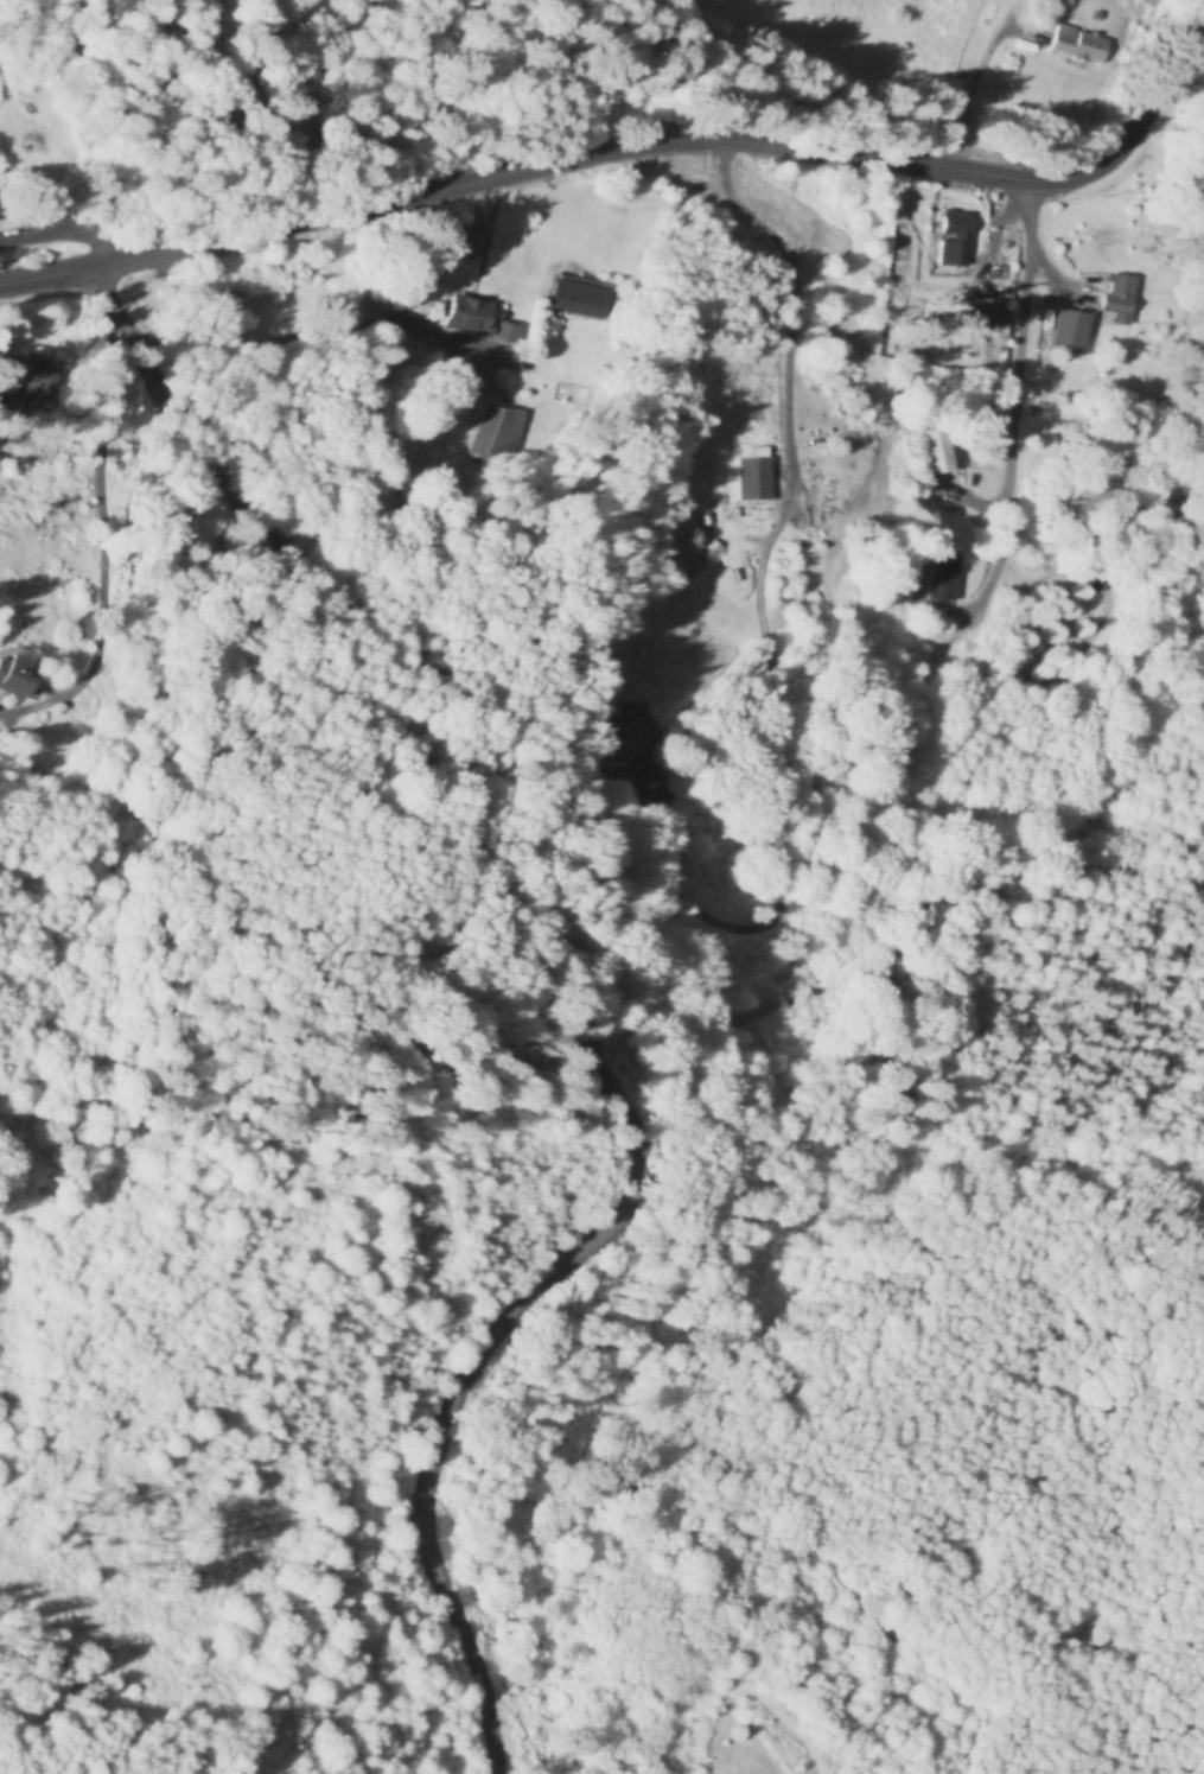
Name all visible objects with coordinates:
building: (1079, 45)
road: (637, 147)
building: (894, 216)
building: (951, 237)
road: (779, 282)
building: (1115, 298)
building: (574, 299)
building: (467, 317)
road: (320, 320)
building: (1065, 331)
road: (1002, 382)
building: (36, 383)
road: (4, 399)
building: (492, 433)
building: (937, 451)
building: (748, 478)
road: (123, 540)
building: (697, 549)
building: (938, 574)
building: (20, 672)
building: (646, 733)
road: (661, 999)
building: (776, 1015)

